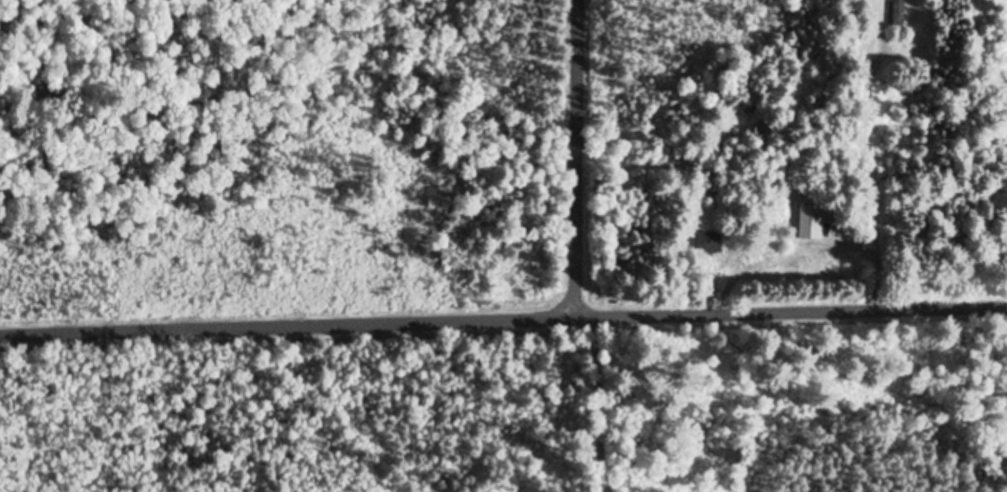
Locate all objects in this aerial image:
building: (898, 13)
road: (577, 159)
building: (810, 223)
building: (709, 244)
road: (503, 320)

